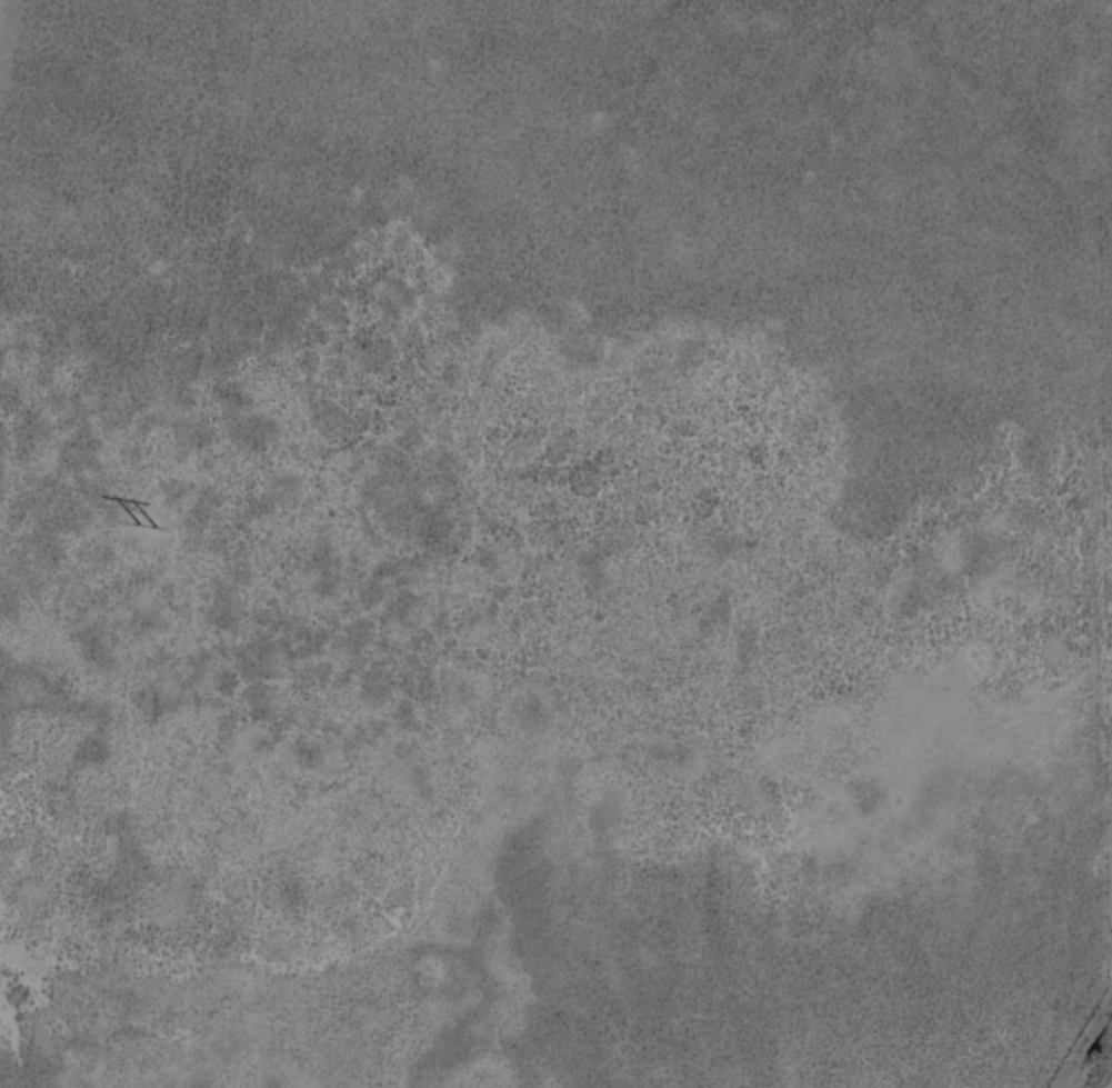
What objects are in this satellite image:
power tower: (143, 528)

